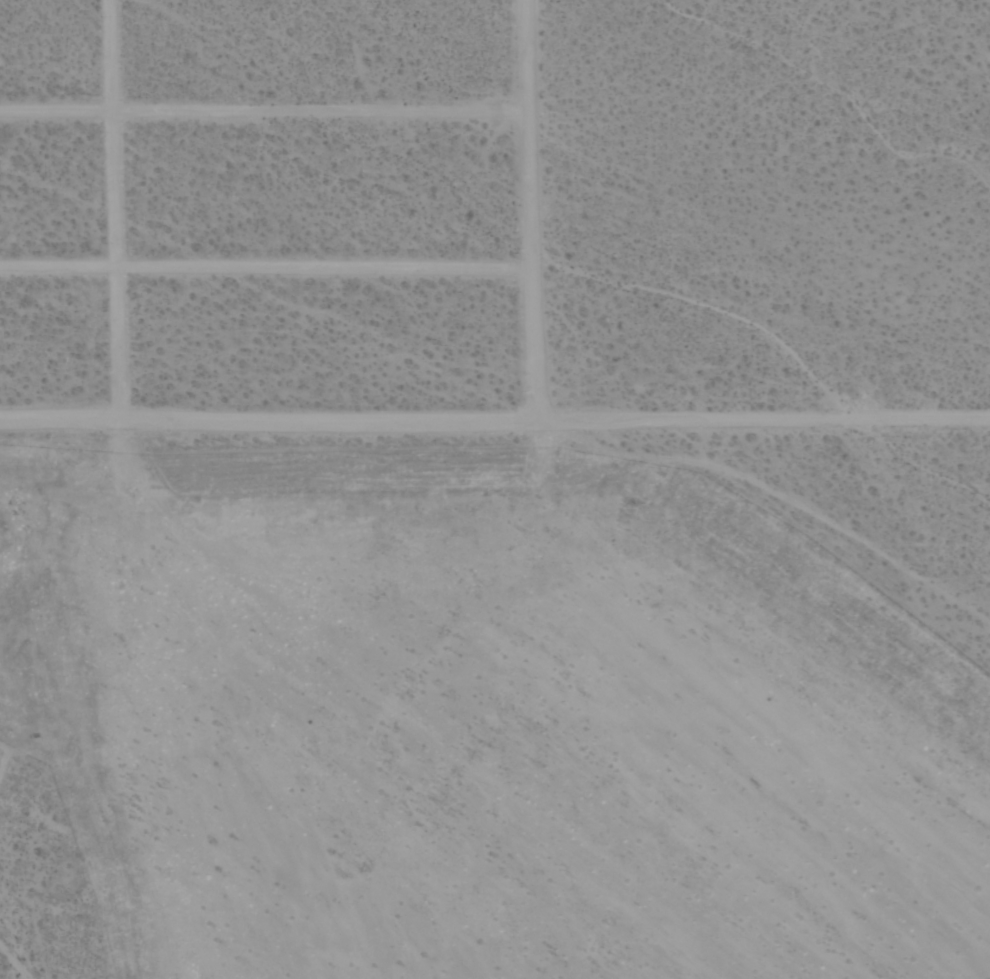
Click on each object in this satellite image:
road: (263, 111)
road: (114, 209)
road: (529, 211)
road: (265, 265)
road: (763, 417)
road: (268, 420)

